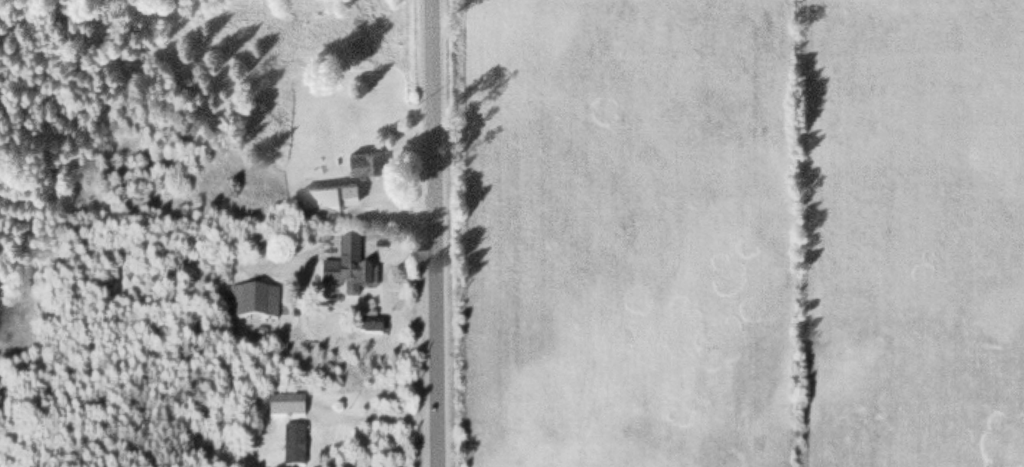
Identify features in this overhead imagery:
building: (361, 159)
building: (343, 190)
road: (438, 233)
building: (343, 269)
building: (252, 303)
building: (283, 407)
building: (291, 446)

